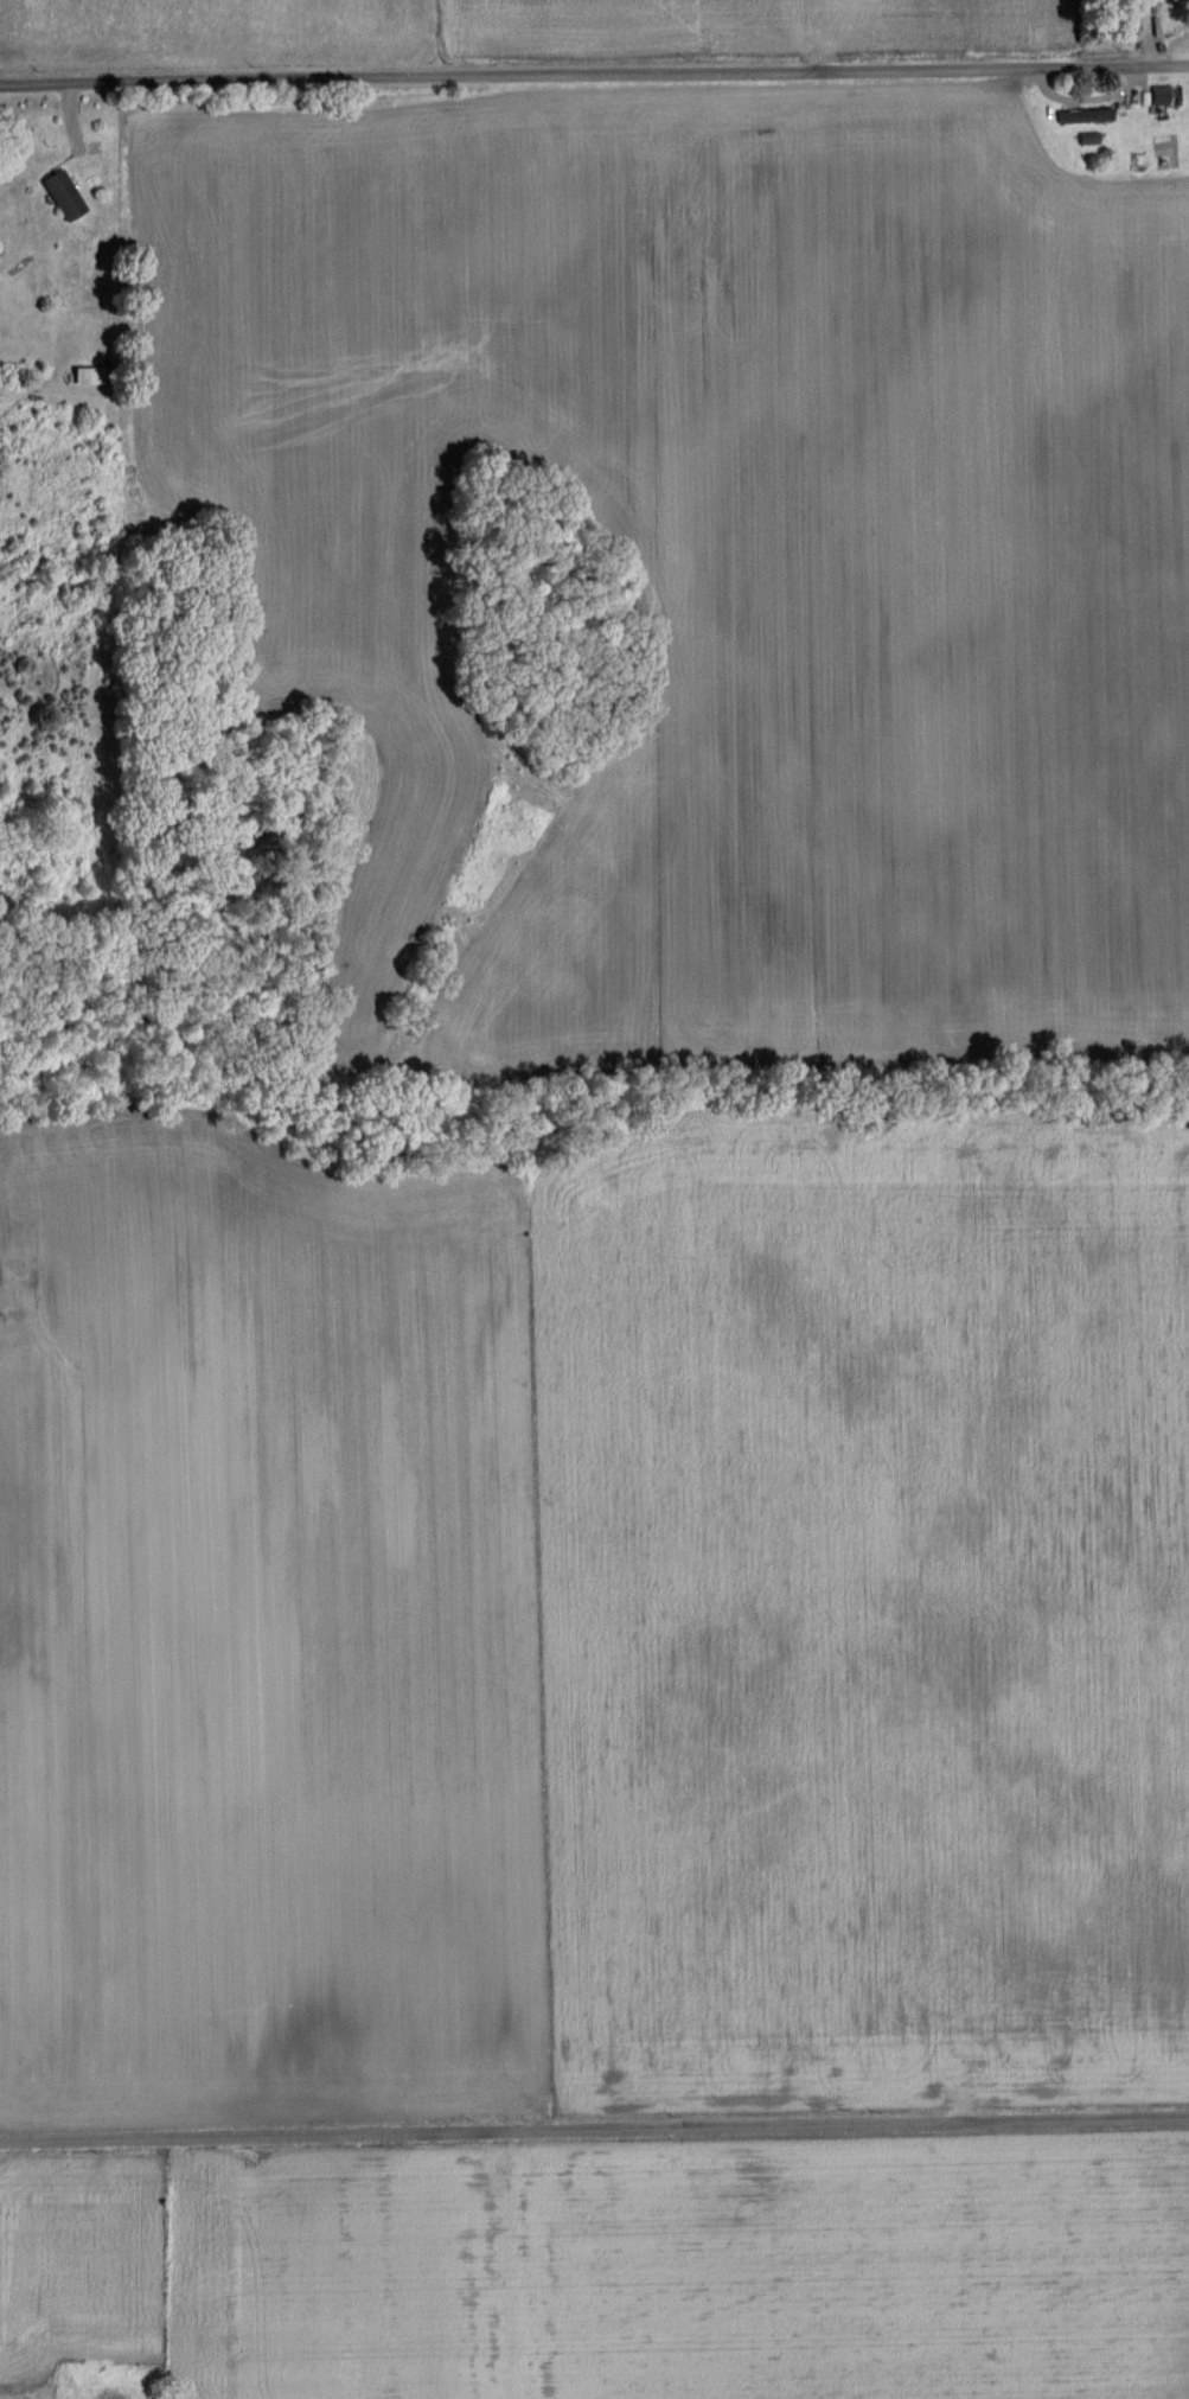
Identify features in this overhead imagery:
road: (594, 76)
building: (1161, 95)
building: (1080, 115)
building: (63, 196)
building: (87, 376)
road: (594, 2136)

